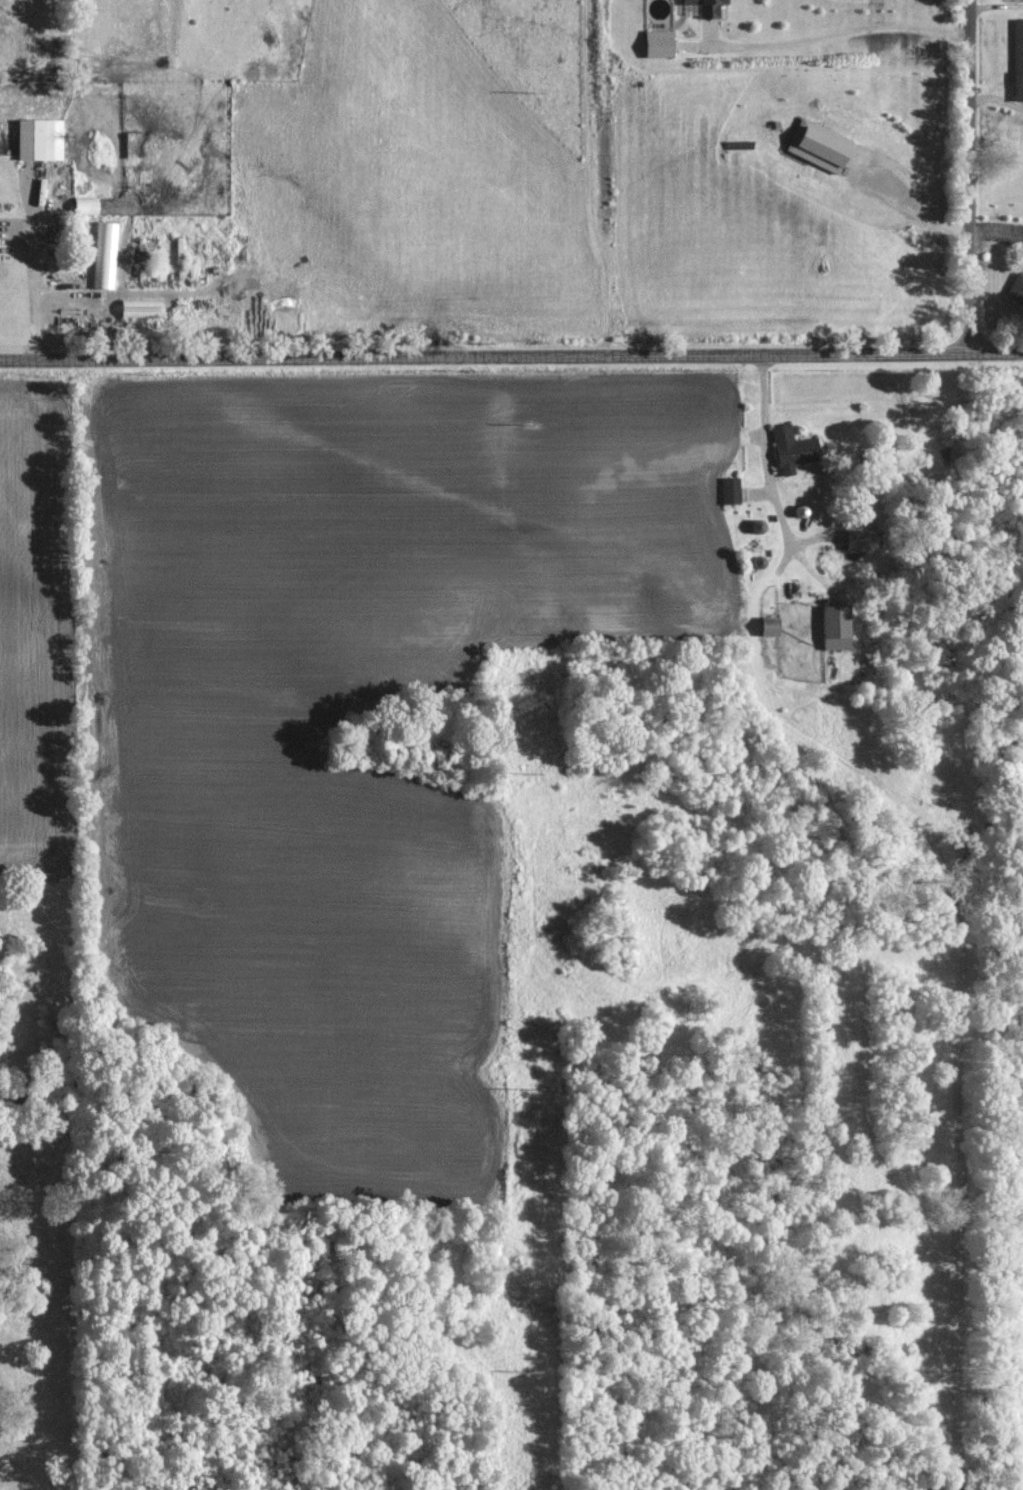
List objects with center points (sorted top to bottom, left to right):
building: (710, 7)
building: (661, 42)
building: (1019, 57)
building: (42, 138)
building: (822, 144)
road: (971, 176)
road: (36, 276)
building: (1018, 289)
building: (144, 306)
road: (511, 354)
road: (767, 447)
building: (795, 448)
building: (732, 489)
building: (862, 538)
building: (773, 625)
building: (837, 626)

